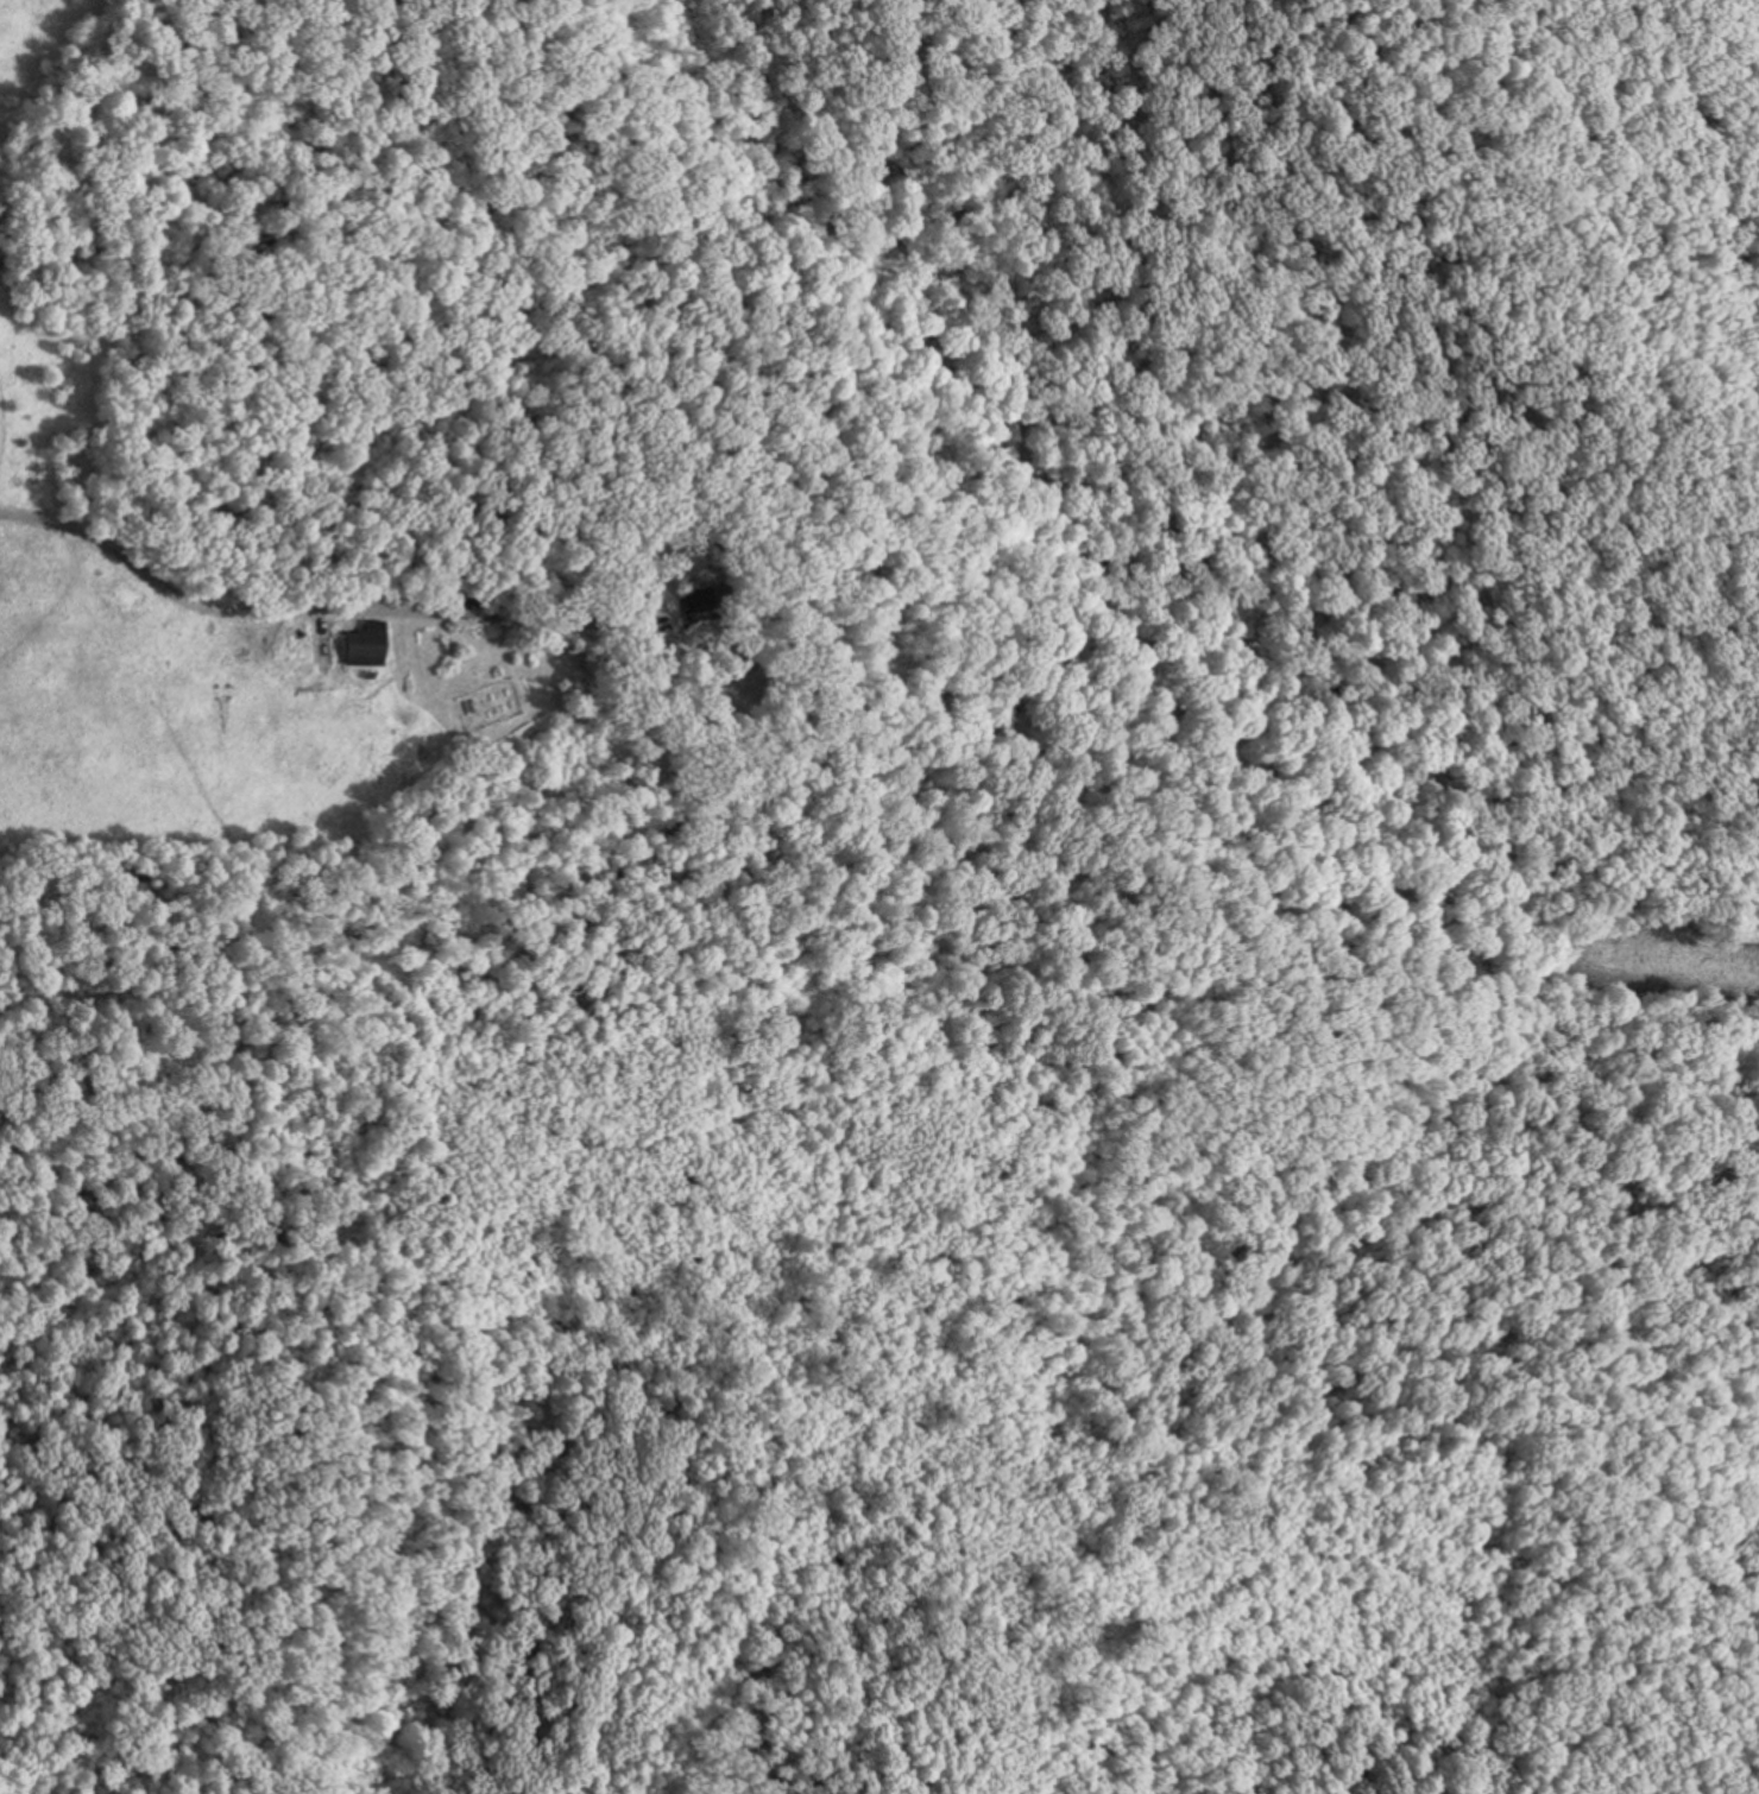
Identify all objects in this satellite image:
building: (360, 645)

